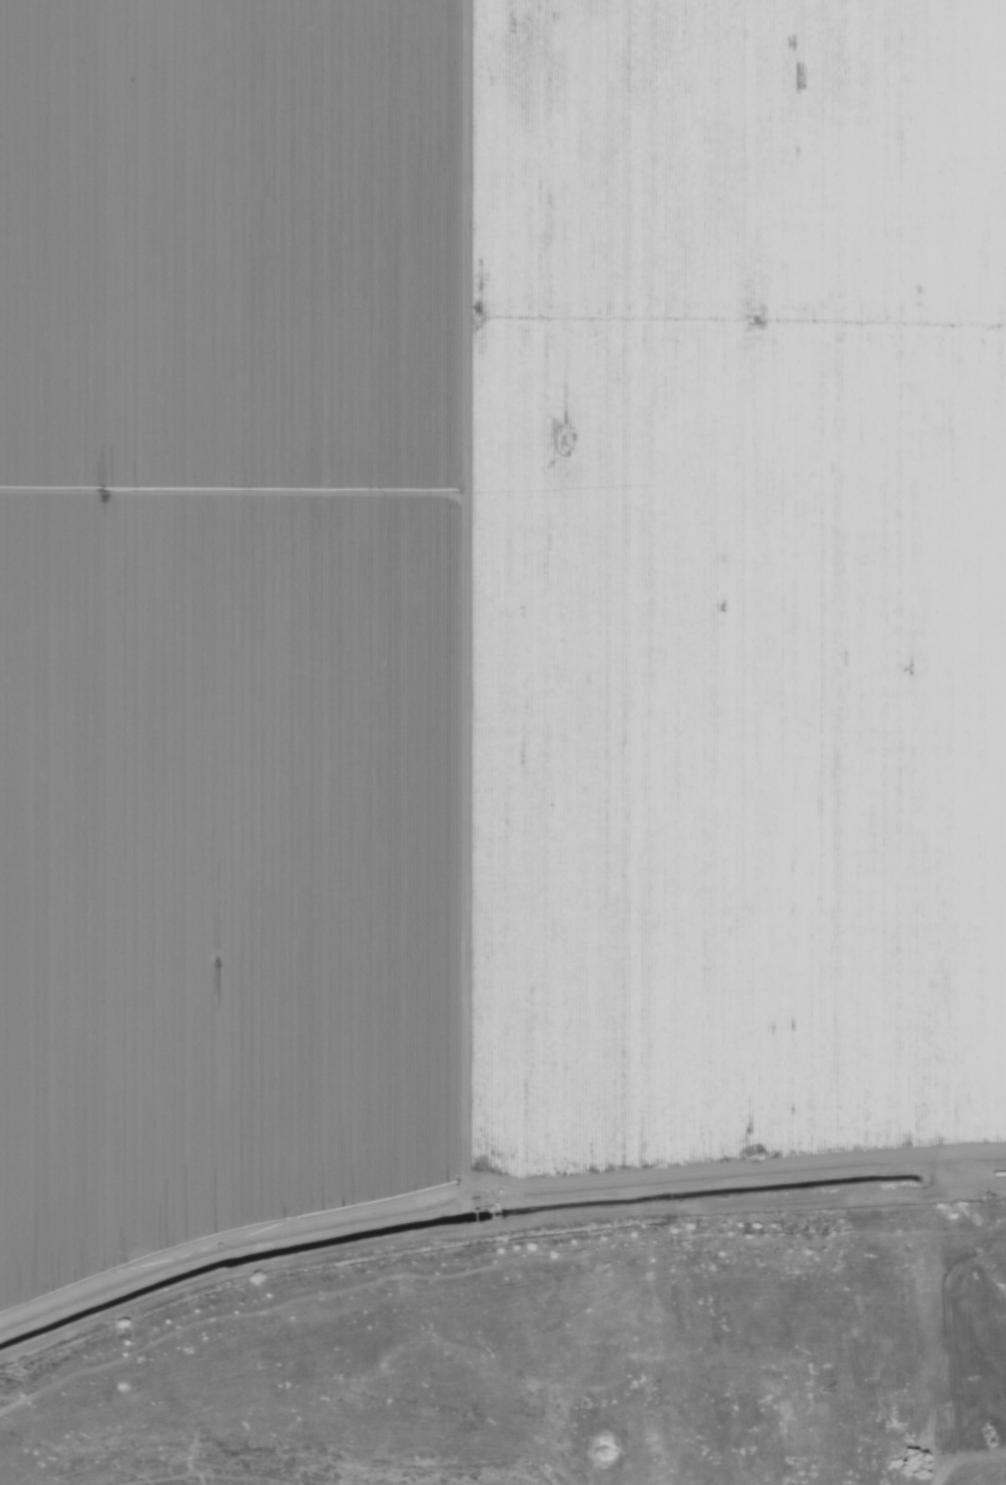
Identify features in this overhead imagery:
road: (493, 1187)

